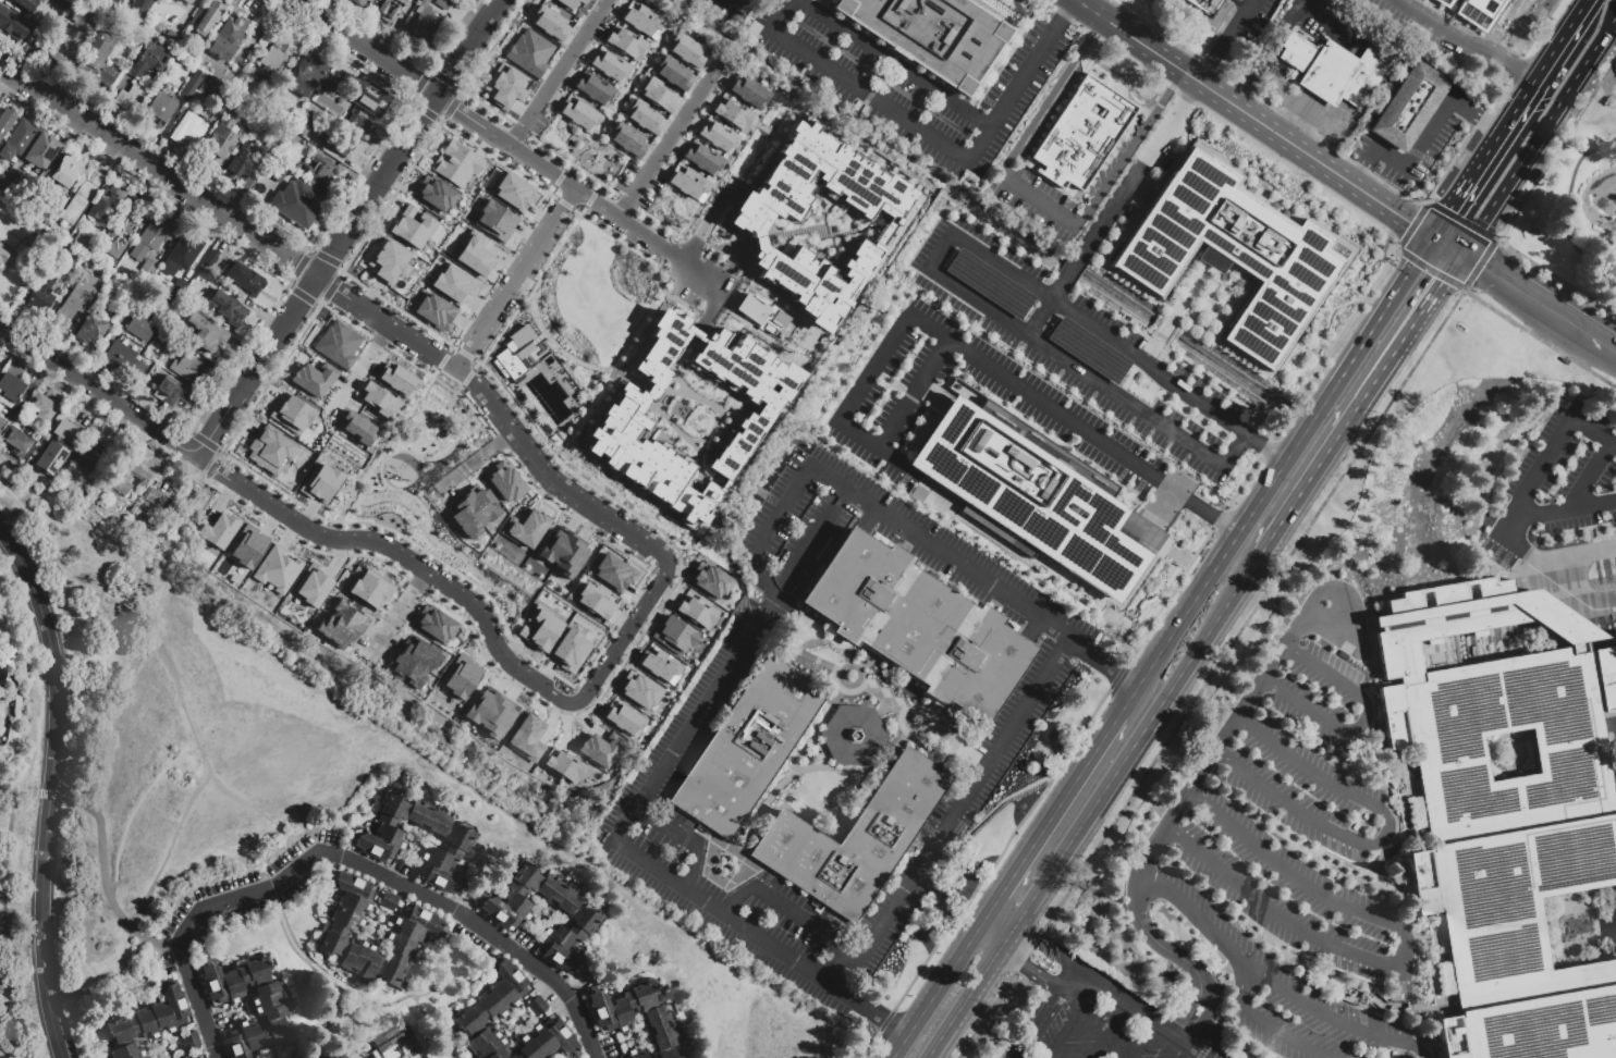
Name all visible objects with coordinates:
building: (195, 0)
building: (580, 1)
building: (186, 2)
building: (565, 2)
building: (20, 3)
building: (360, 3)
building: (137, 4)
building: (444, 5)
building: (62, 9)
building: (1205, 10)
building: (1484, 10)
building: (392, 11)
road: (1091, 11)
road: (1064, 15)
road: (1319, 15)
building: (72, 19)
road: (1239, 19)
building: (209, 20)
building: (639, 20)
building: (739, 20)
building: (425, 22)
building: (548, 23)
building: (11, 25)
building: (756, 32)
building: (933, 35)
building: (176, 38)
road: (1469, 39)
building: (232, 41)
building: (37, 42)
building: (624, 42)
road: (364, 47)
road: (1081, 48)
building: (685, 50)
building: (528, 51)
building: (65, 52)
road: (1269, 53)
building: (276, 58)
road: (1212, 59)
building: (151, 61)
road: (895, 63)
building: (609, 64)
building: (99, 65)
road: (558, 72)
building: (1336, 72)
building: (671, 73)
road: (1540, 74)
building: (307, 77)
road: (1197, 81)
flagpole: (1286, 82)
building: (504, 85)
building: (592, 87)
building: (193, 88)
road: (1191, 88)
building: (203, 90)
building: (746, 90)
building: (656, 94)
road: (1165, 94)
building: (364, 96)
building: (131, 99)
building: (1410, 109)
building: (731, 112)
building: (160, 113)
building: (577, 113)
road: (1476, 115)
building: (642, 116)
road: (1300, 118)
building: (355, 122)
building: (7, 124)
building: (304, 128)
road: (922, 128)
building: (189, 132)
building: (1082, 133)
building: (717, 134)
road: (1538, 135)
building: (626, 139)
building: (340, 142)
road: (666, 142)
building: (19, 143)
building: (222, 143)
road: (1418, 148)
building: (42, 153)
building: (700, 157)
building: (456, 163)
road: (1363, 165)
building: (243, 169)
road: (157, 170)
building: (69, 172)
building: (279, 175)
road: (1133, 175)
building: (323, 176)
building: (0, 181)
building: (686, 182)
road: (1359, 187)
building: (514, 190)
road: (580, 192)
building: (256, 193)
building: (434, 193)
road: (1461, 193)
building: (12, 196)
building: (41, 200)
building: (83, 200)
fountain: (1611, 201)
road: (1518, 205)
building: (109, 206)
road: (1044, 207)
building: (298, 208)
road: (1568, 208)
traffic signals: (1449, 211)
road: (332, 214)
building: (494, 220)
road: (707, 221)
traffic signals: (1411, 222)
building: (47, 225)
building: (746, 225)
building: (412, 226)
road: (346, 227)
building: (125, 229)
building: (151, 241)
building: (81, 243)
road: (1446, 245)
road: (941, 251)
building: (473, 253)
building: (1233, 254)
building: (62, 256)
building: (4, 258)
building: (183, 258)
building: (388, 260)
building: (217, 261)
road: (1074, 267)
traffic signals: (1482, 268)
building: (150, 269)
building: (200, 278)
road: (517, 279)
building: (453, 281)
traffic signals: (1442, 282)
building: (247, 283)
building: (180, 291)
road: (1520, 293)
road: (1195, 294)
road: (1432, 295)
building: (45, 296)
building: (78, 300)
building: (138, 300)
building: (228, 307)
road: (1046, 307)
road: (712, 308)
building: (434, 311)
building: (760, 312)
building: (142, 331)
road: (1170, 331)
building: (91, 332)
building: (206, 333)
building: (168, 341)
road: (950, 342)
building: (336, 343)
road: (1597, 343)
building: (514, 352)
road: (1153, 355)
building: (126, 362)
building: (1565, 362)
building: (2, 367)
building: (188, 371)
road: (355, 372)
building: (1060, 377)
building: (313, 378)
building: (396, 379)
building: (13, 384)
road: (97, 390)
building: (173, 394)
building: (377, 398)
building: (47, 407)
road: (499, 411)
building: (291, 413)
building: (620, 416)
building: (2, 427)
building: (357, 428)
road: (1246, 435)
road: (1559, 438)
building: (20, 444)
road: (1333, 444)
building: (268, 448)
building: (60, 451)
building: (95, 459)
road: (475, 460)
road: (1273, 470)
road: (911, 477)
road: (1589, 477)
building: (127, 480)
building: (503, 481)
building: (319, 482)
road: (1491, 485)
building: (1031, 500)
building: (158, 501)
building: (91, 504)
road: (1578, 507)
building: (473, 509)
road: (781, 513)
road: (1525, 517)
building: (524, 528)
building: (217, 530)
road: (1504, 538)
building: (246, 544)
building: (562, 551)
road: (401, 554)
building: (1016, 554)
road: (72, 562)
road: (1543, 564)
building: (276, 568)
building: (613, 571)
building: (708, 579)
building: (310, 583)
building: (370, 588)
road: (1259, 599)
building: (592, 600)
building: (695, 610)
road: (395, 615)
road: (145, 623)
building: (342, 624)
building: (433, 624)
building: (918, 627)
building: (539, 628)
building: (672, 633)
road: (622, 636)
road: (769, 637)
road: (1076, 644)
building: (568, 649)
building: (412, 660)
road: (735, 660)
building: (658, 664)
road: (1107, 667)
building: (460, 676)
building: (638, 688)
road: (876, 691)
road: (1252, 694)
building: (489, 711)
building: (622, 717)
road: (1364, 721)
building: (854, 735)
building: (527, 737)
road: (1138, 737)
park: (159, 739)
building: (599, 748)
building: (748, 749)
road: (181, 753)
road: (971, 759)
building: (563, 763)
road: (194, 780)
road: (23, 790)
road: (48, 790)
road: (962, 797)
road: (1052, 799)
building: (1506, 805)
road: (254, 809)
park: (25, 815)
building: (1361, 815)
road: (131, 819)
road: (1385, 835)
building: (855, 837)
road: (683, 839)
building: (378, 844)
road: (350, 860)
road: (1376, 863)
road: (103, 872)
building: (390, 902)
road: (787, 912)
road: (1193, 914)
building: (509, 919)
road: (995, 920)
road: (0, 924)
building: (424, 932)
road: (1007, 935)
road: (1045, 945)
road: (1163, 947)
road: (1012, 955)
road: (1404, 955)
road: (831, 961)
road: (936, 975)
road: (1041, 977)
road: (1068, 980)
road: (1271, 980)
building: (1349, 995)
road: (964, 1002)
road: (1188, 1004)
building: (1376, 1004)
building: (270, 1005)
road: (860, 1005)
building: (537, 1007)
road: (1209, 1009)
building: (492, 1012)
road: (1143, 1013)
building: (1198, 1016)
building: (613, 1019)
road: (1072, 1020)
building: (148, 1023)
road: (1039, 1024)
road: (1109, 1030)
road: (1144, 1039)
building: (191, 1042)
building: (549, 1042)
building: (391, 1043)
road: (1179, 1049)
building: (1391, 1054)
building: (636, 1055)
building: (200, 1057)

